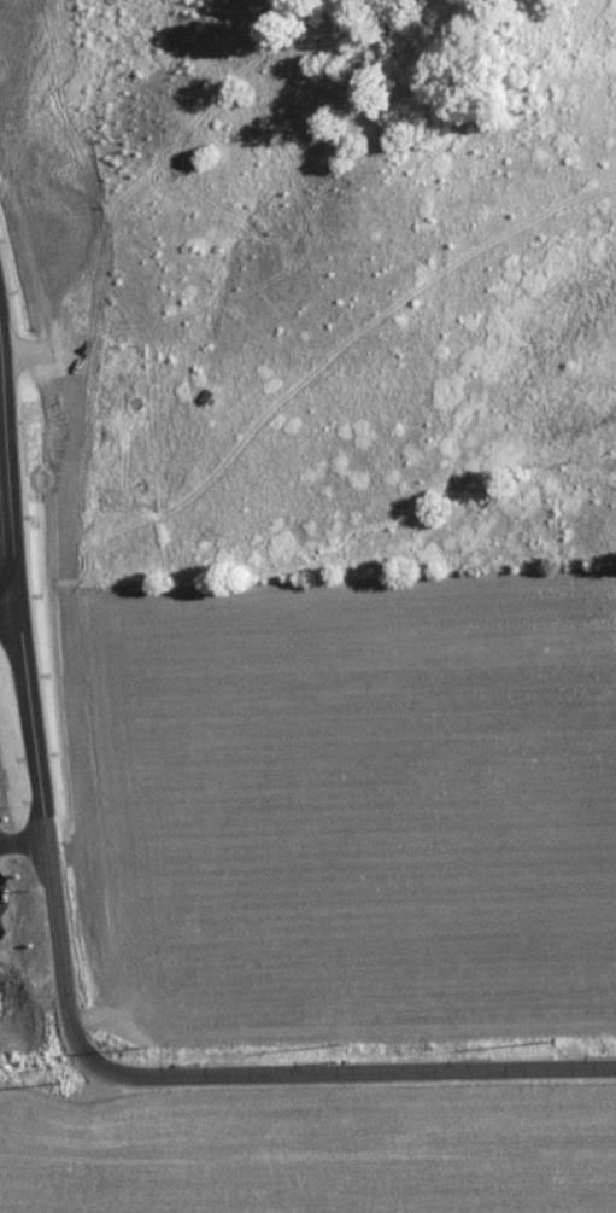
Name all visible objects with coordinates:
road: (6, 480)
road: (7, 596)
road: (22, 835)
road: (116, 1069)

